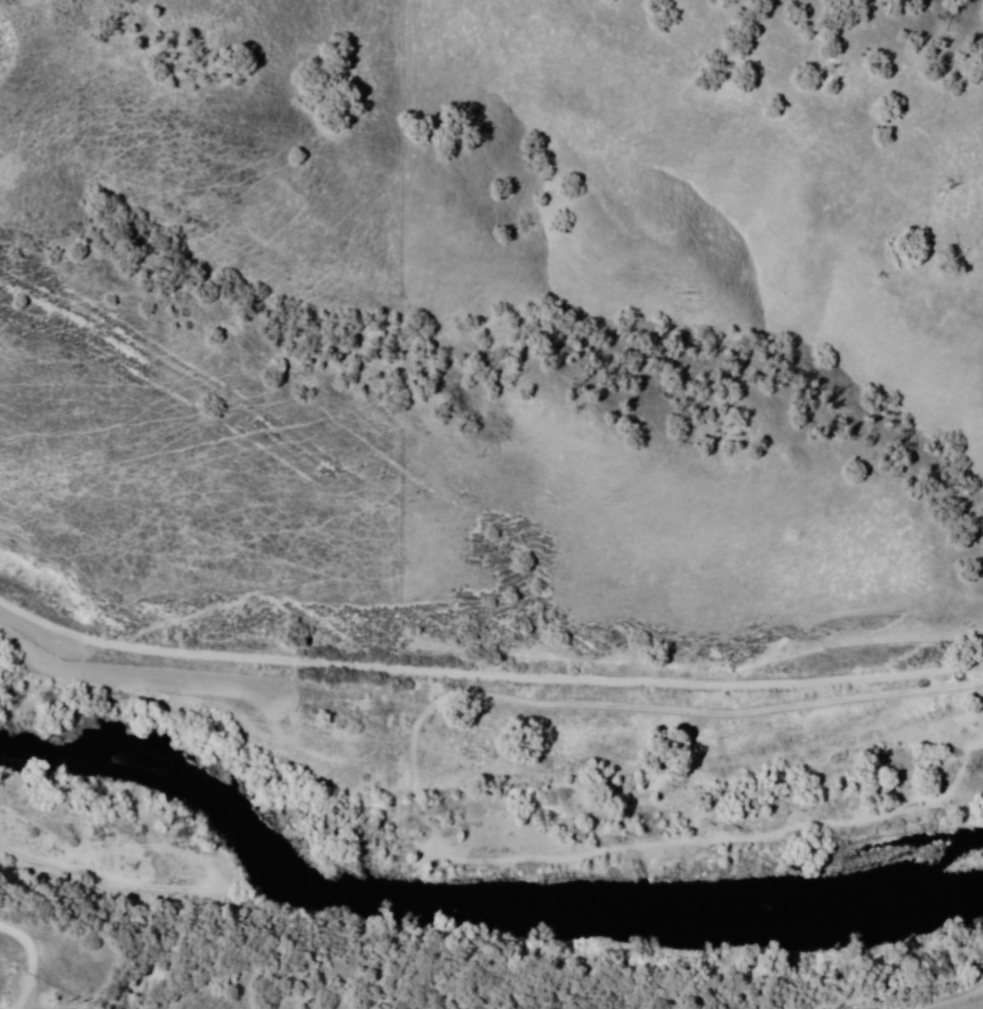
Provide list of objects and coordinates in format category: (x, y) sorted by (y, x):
road: (488, 670)
river: (100, 760)
river: (583, 861)
road: (976, 1007)

